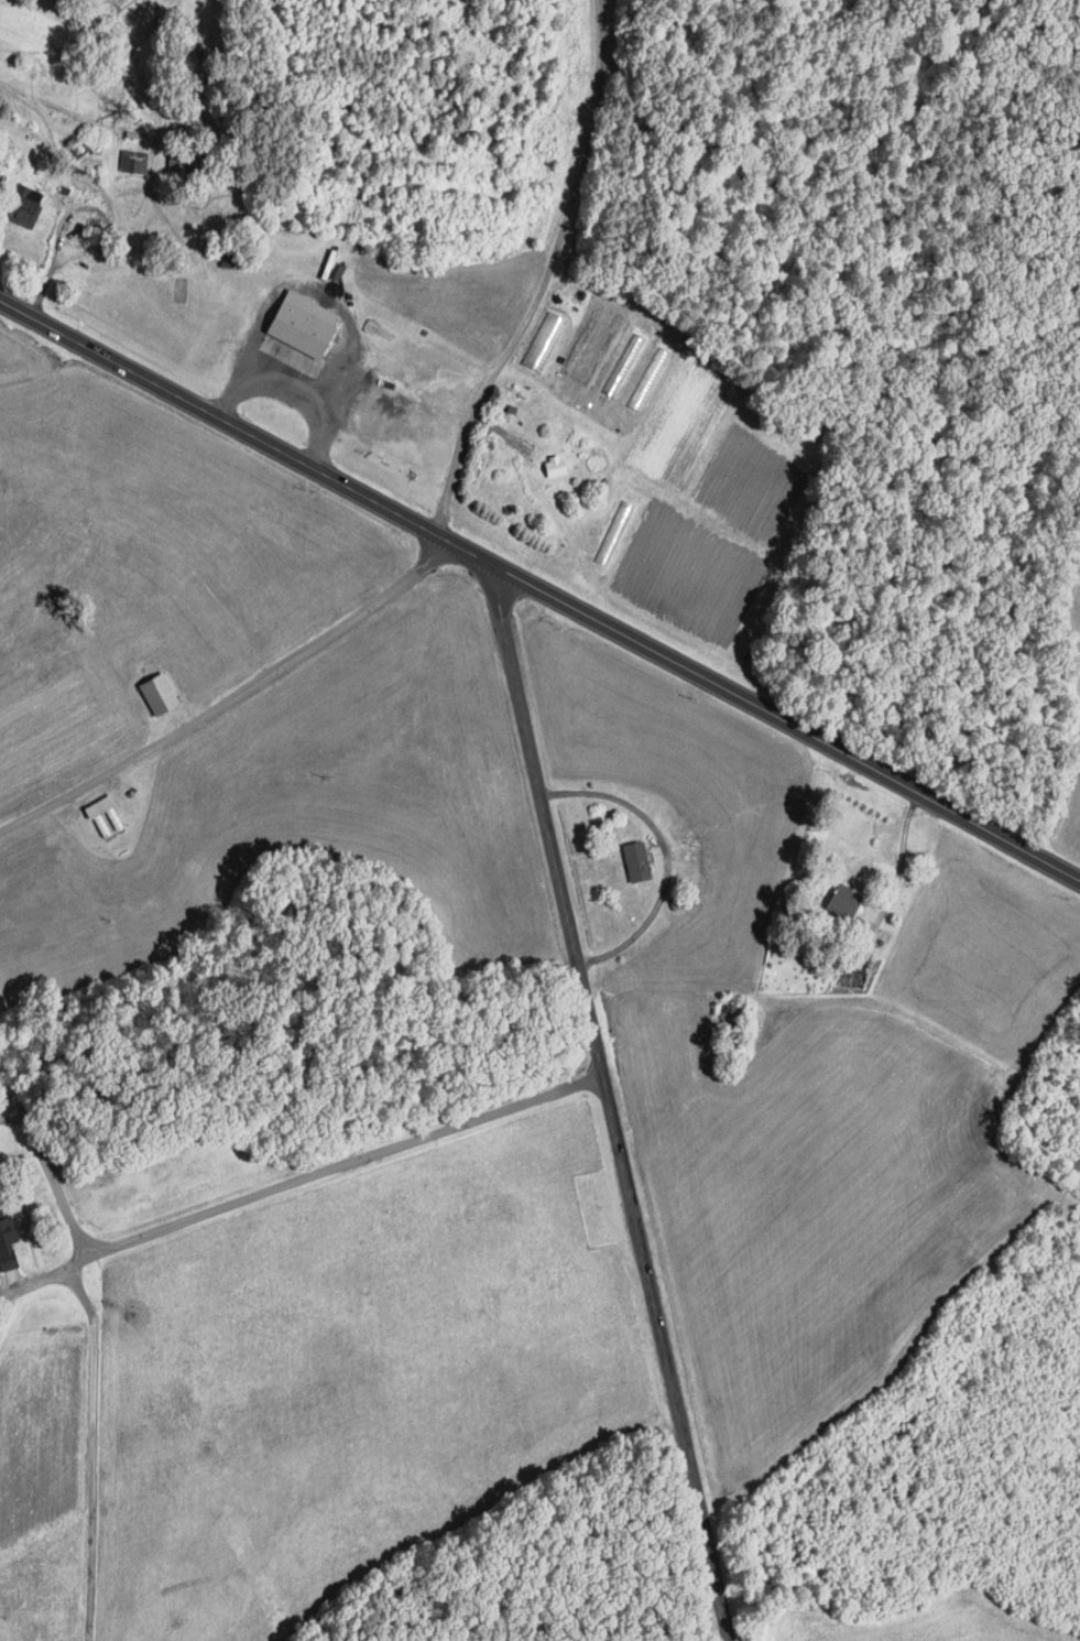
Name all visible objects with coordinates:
building: (135, 160)
building: (2, 182)
building: (31, 206)
road: (53, 270)
road: (546, 274)
building: (309, 323)
building: (558, 465)
road: (541, 588)
building: (163, 693)
road: (231, 696)
road: (663, 850)
building: (641, 859)
road: (901, 862)
river: (41, 1047)
river: (0, 1054)
road: (610, 1101)
road: (8, 1109)
road: (41, 1152)
road: (332, 1169)
building: (9, 1239)
road: (45, 1279)
road: (92, 1452)

